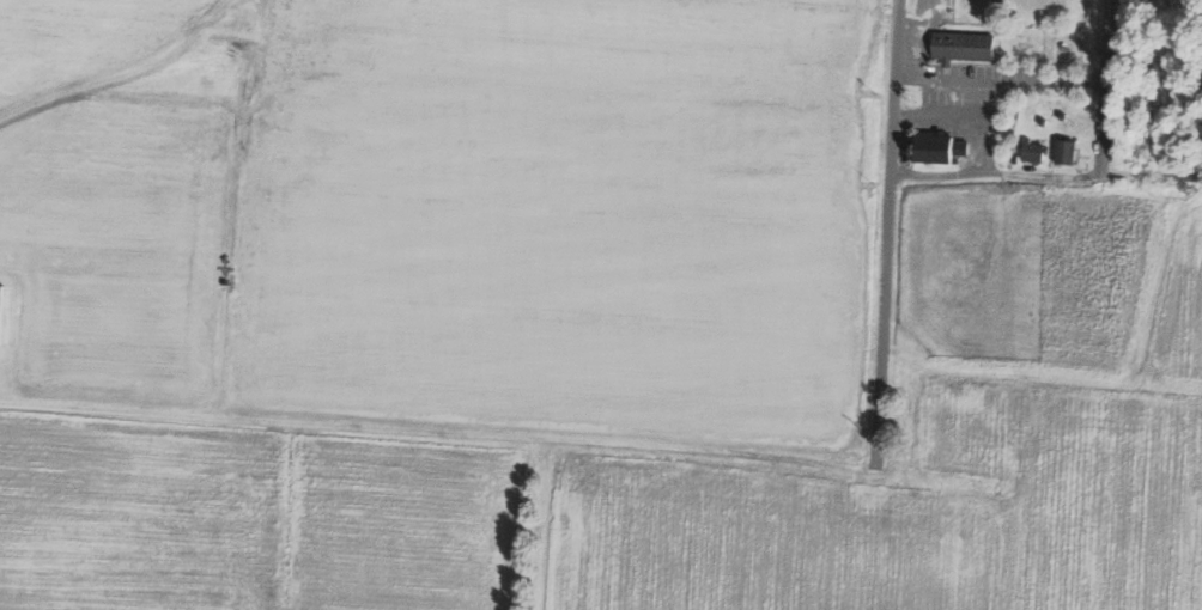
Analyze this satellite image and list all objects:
building: (965, 47)
road: (1002, 80)
road: (984, 99)
road: (1110, 102)
road: (965, 118)
building: (939, 148)
building: (1034, 152)
building: (1067, 152)
road: (936, 173)
road: (1044, 177)
road: (1045, 203)
building: (1, 315)
road: (672, 456)

